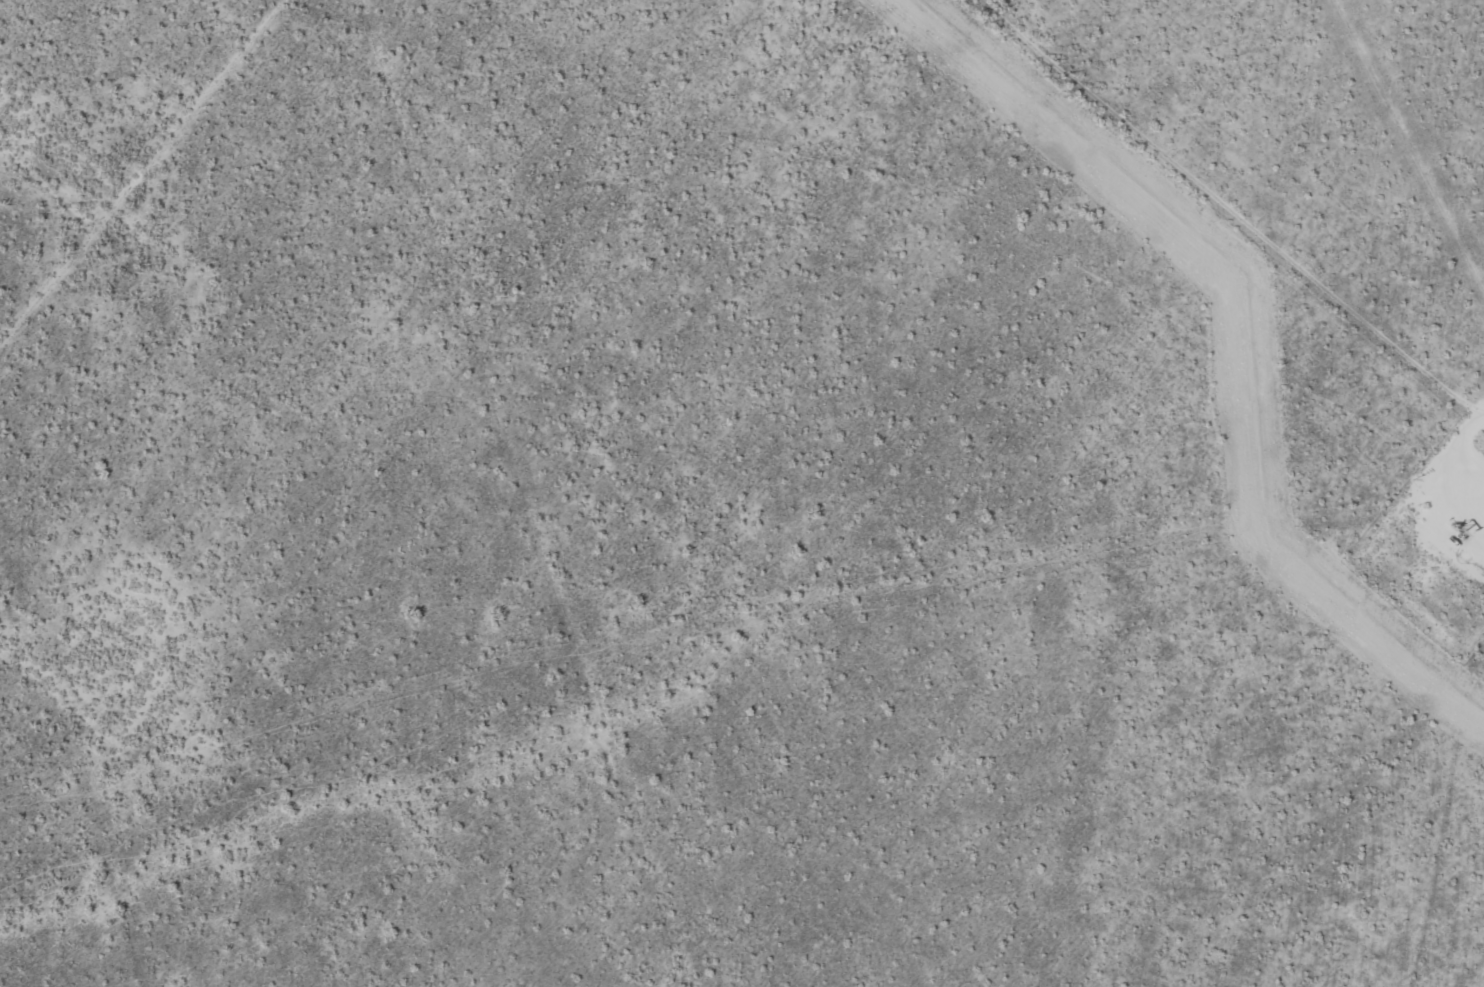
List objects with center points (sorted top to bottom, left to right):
road: (142, 170)
road: (532, 491)

